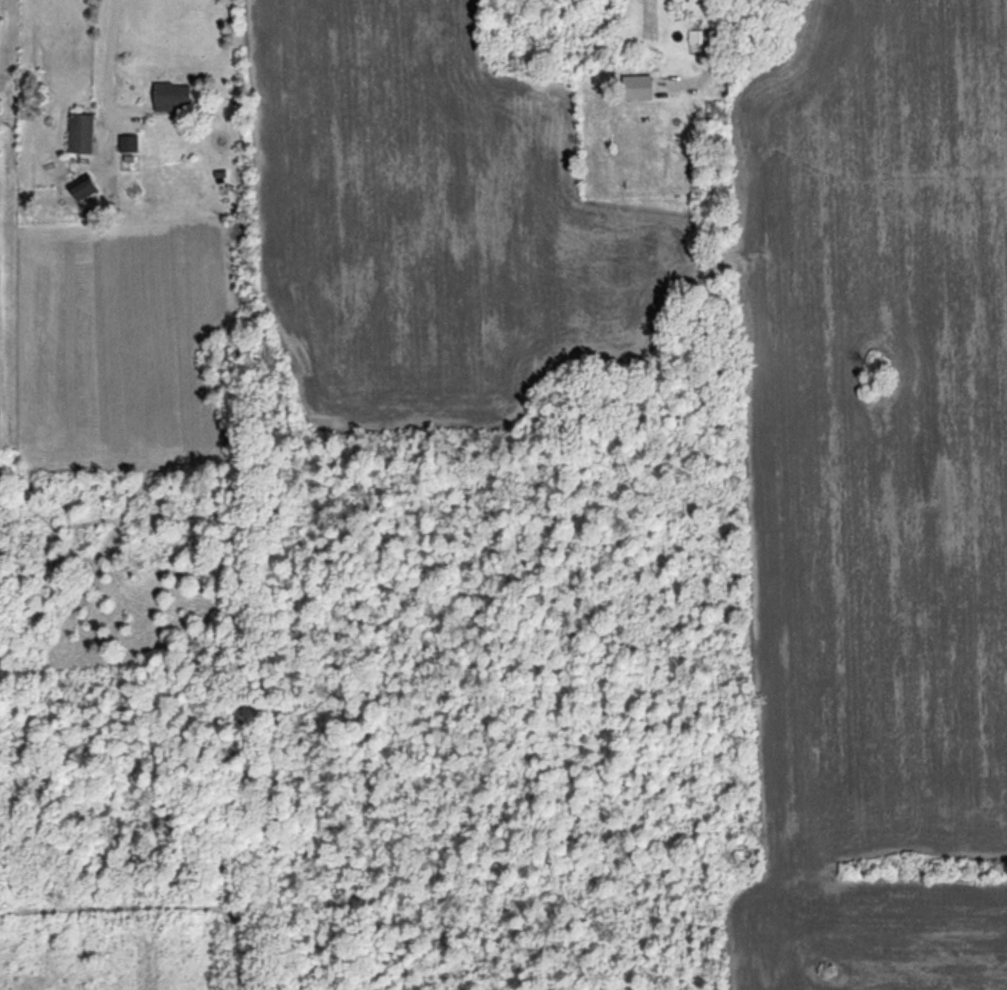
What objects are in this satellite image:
road: (109, 55)
building: (631, 88)
building: (166, 97)
building: (0, 104)
building: (77, 135)
building: (124, 145)
building: (78, 192)

